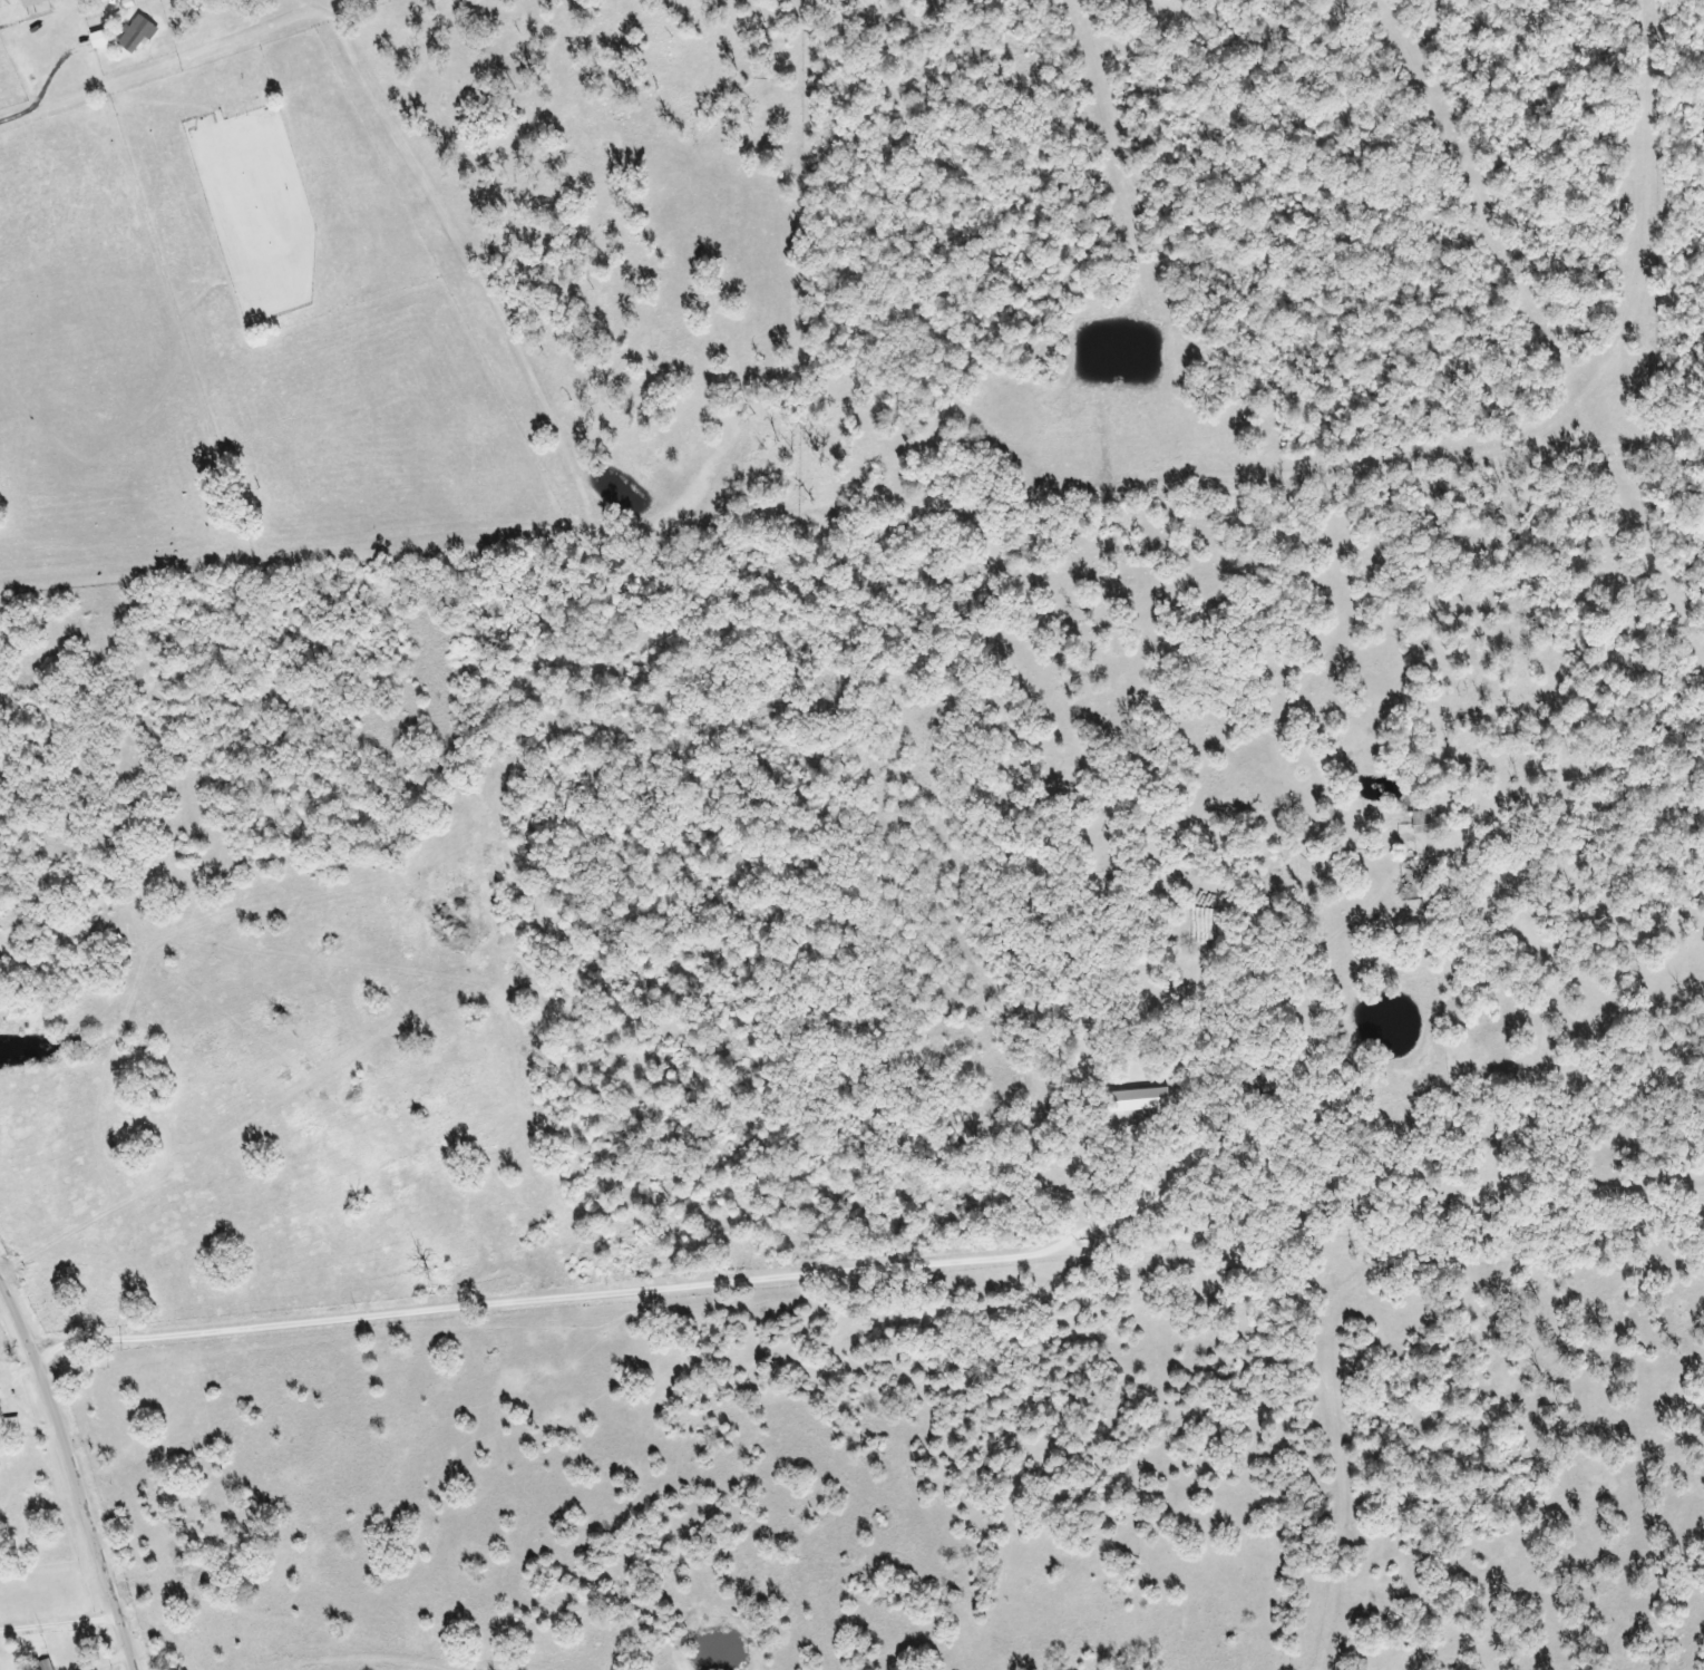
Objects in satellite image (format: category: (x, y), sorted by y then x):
building: (28, 2)
building: (133, 35)
building: (95, 38)
building: (1419, 821)
building: (1131, 1098)
road: (80, 1465)
building: (40, 1664)

